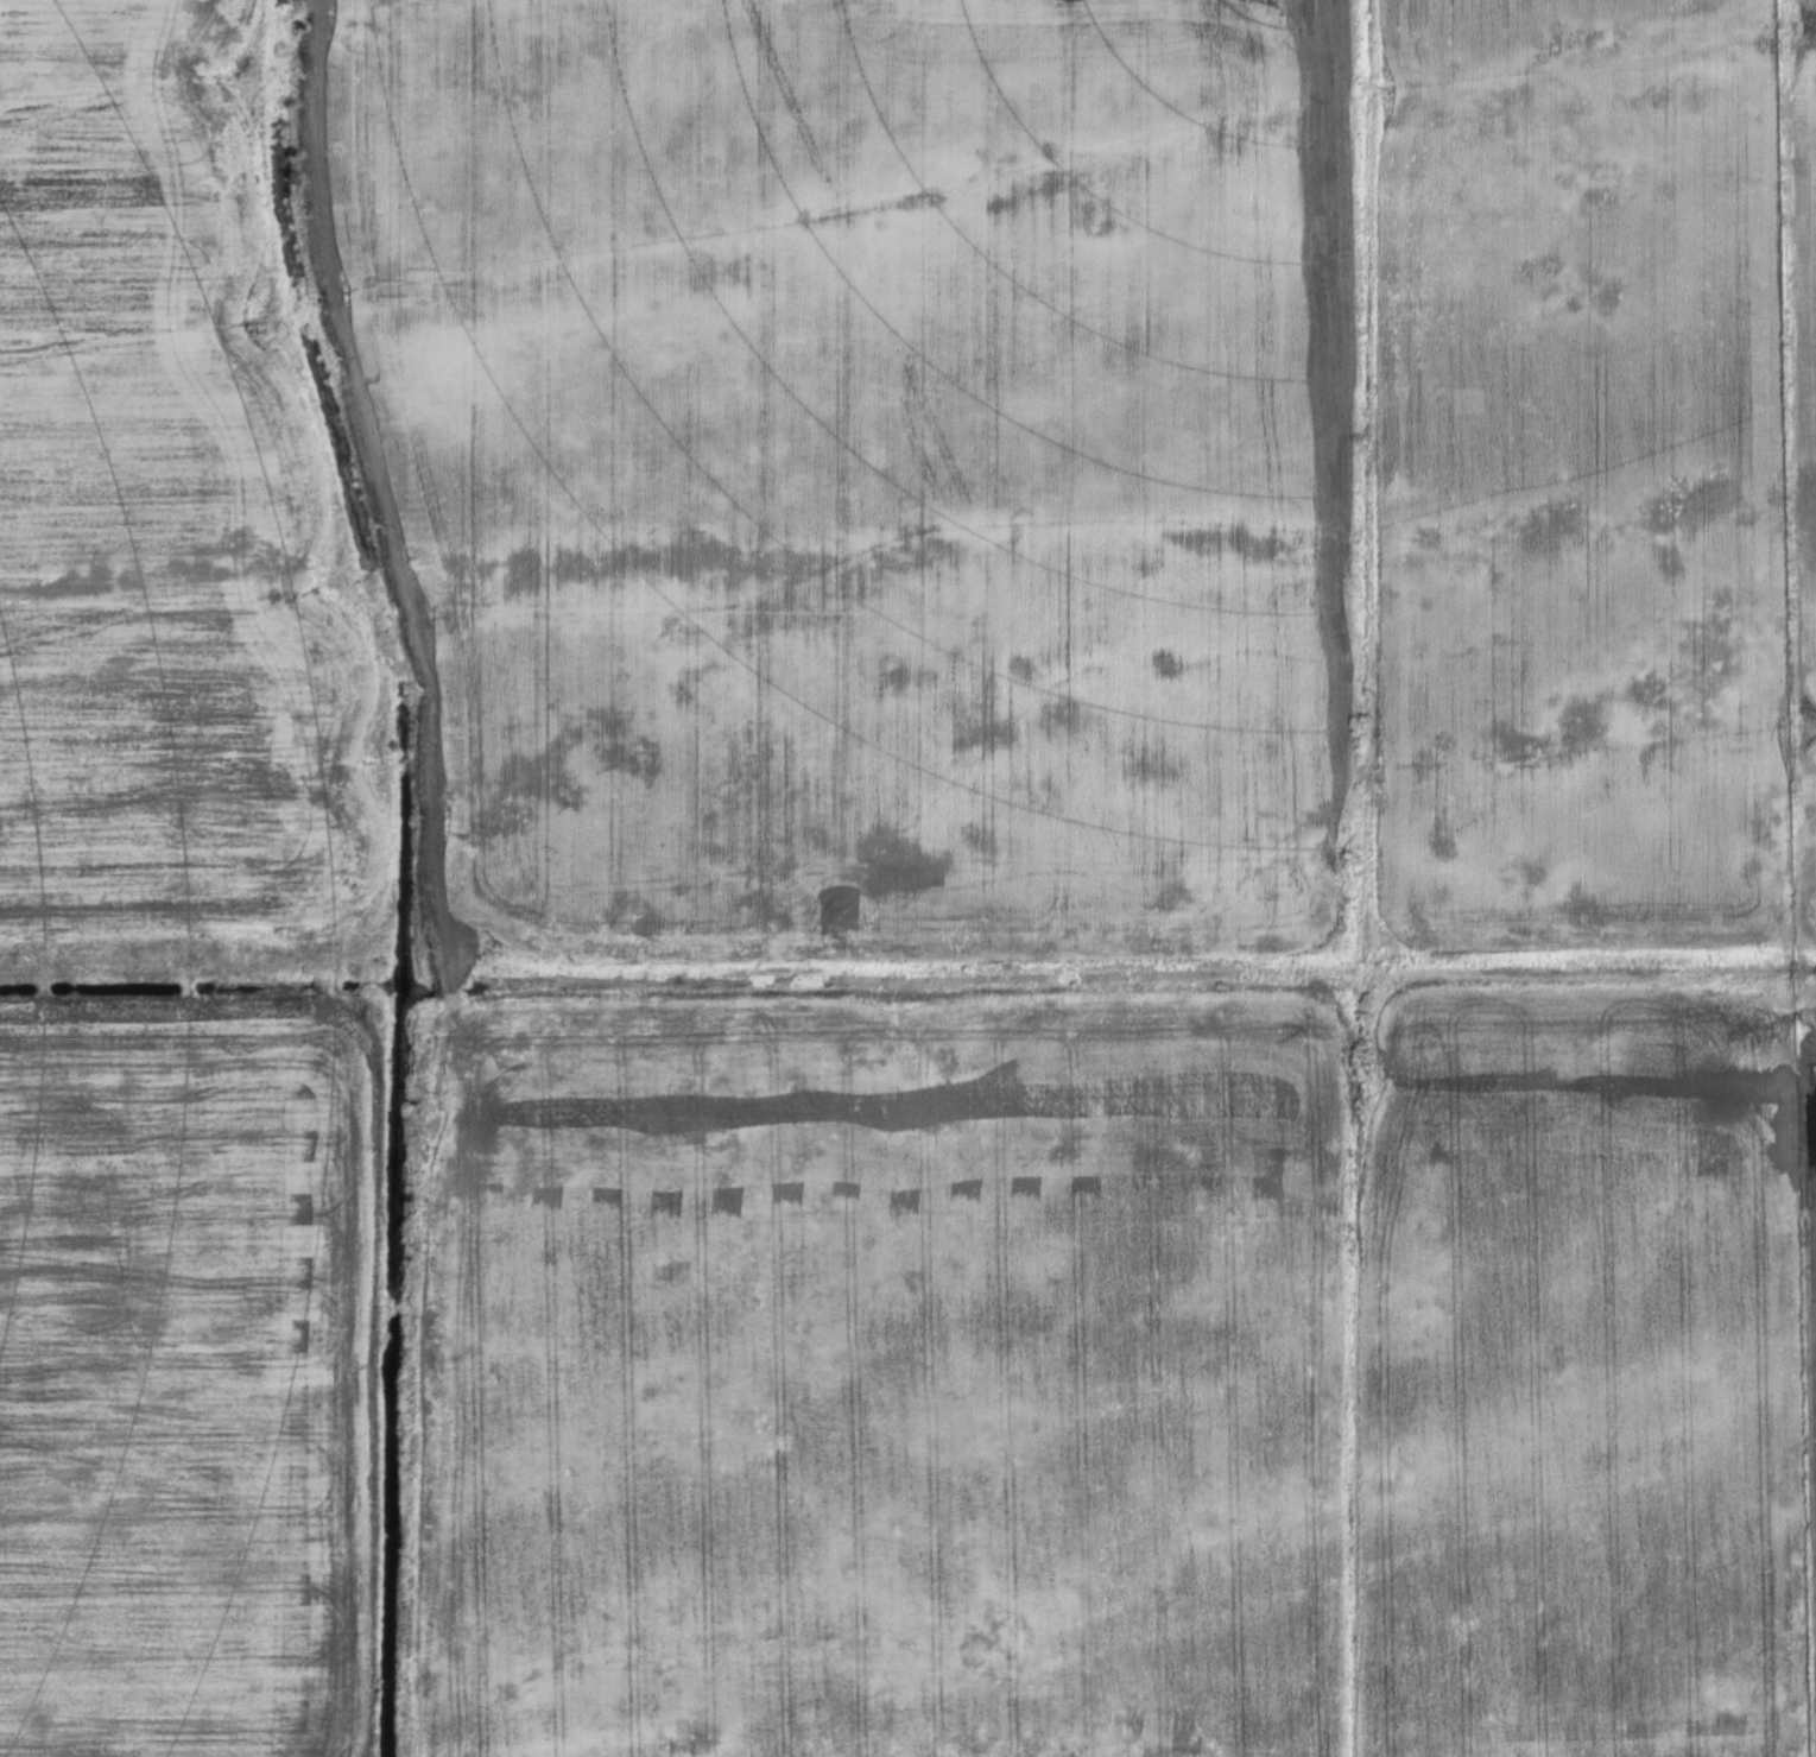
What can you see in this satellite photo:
airport: (1799, 712)

